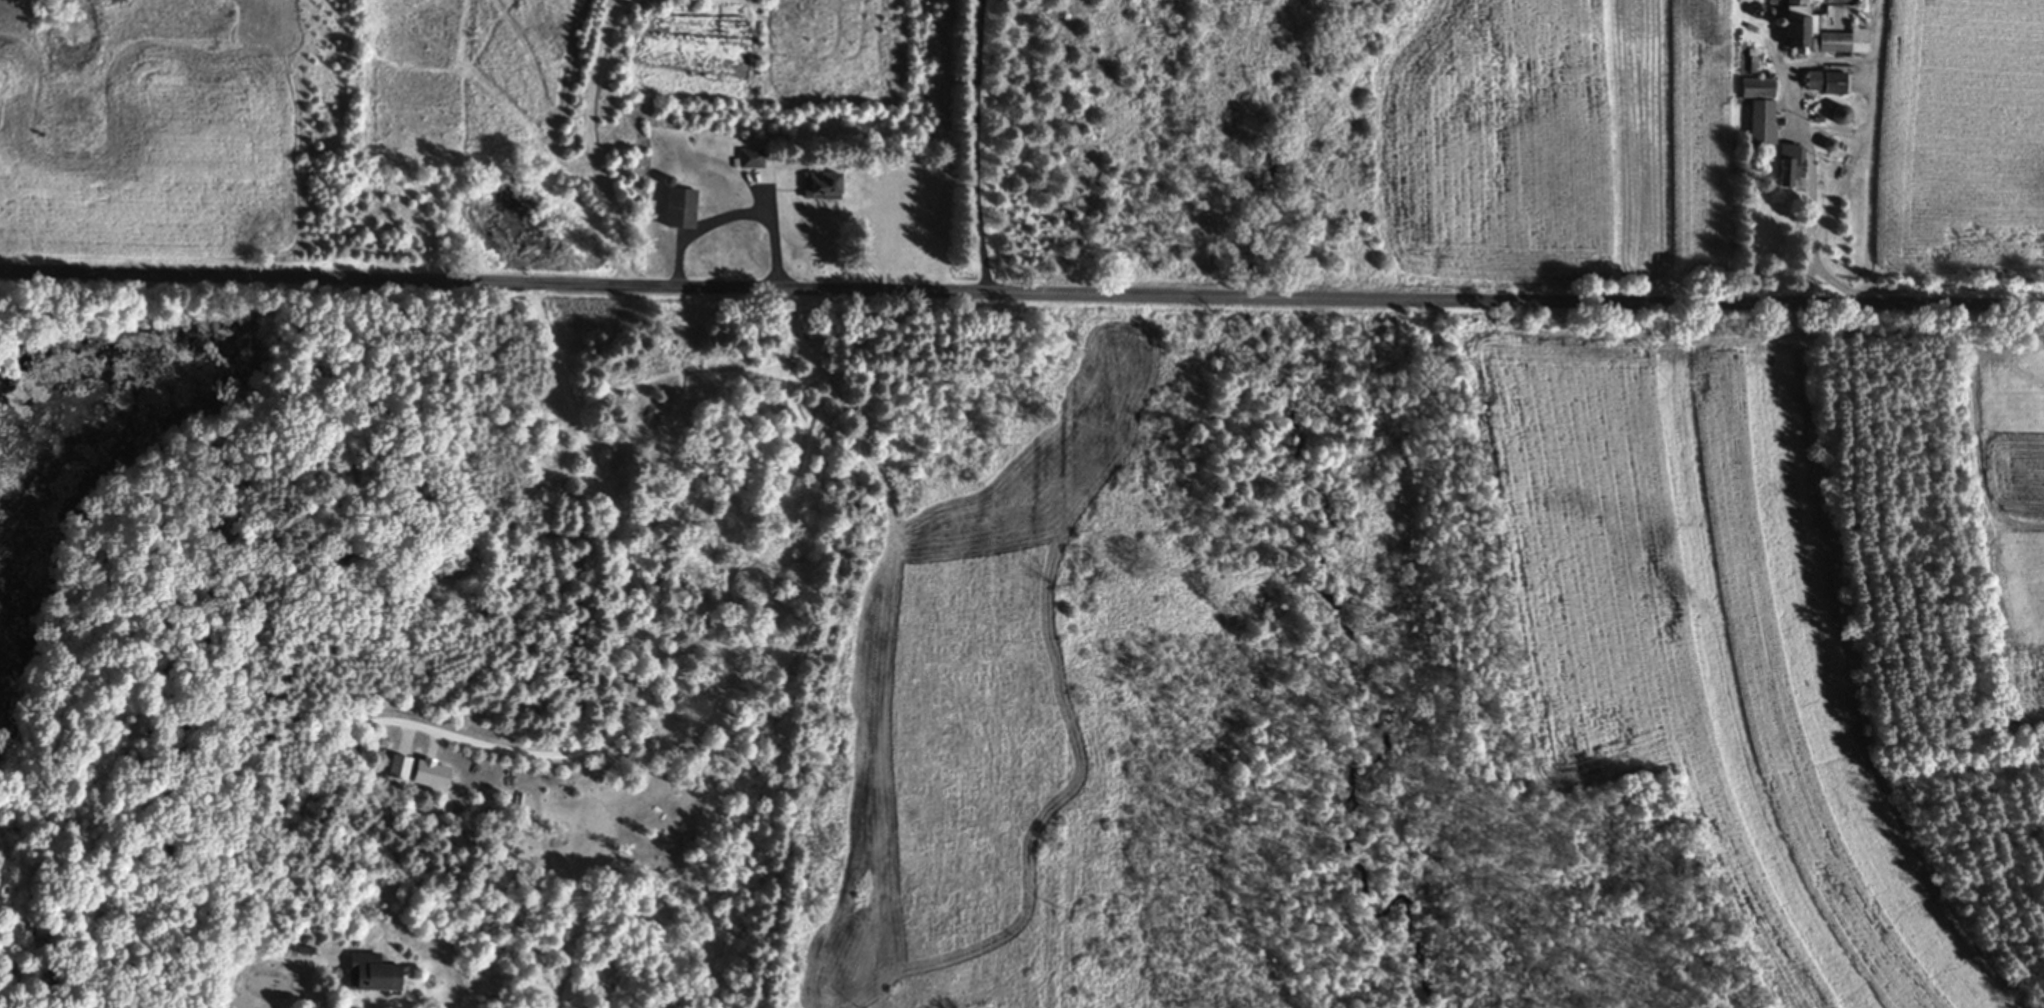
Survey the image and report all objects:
building: (1795, 23)
building: (1842, 41)
building: (1827, 82)
building: (1758, 108)
building: (1837, 115)
road: (594, 144)
road: (865, 146)
road: (974, 148)
road: (1873, 153)
building: (749, 158)
building: (1789, 164)
building: (819, 186)
building: (678, 209)
road: (1021, 296)
road: (563, 752)
building: (426, 775)
road: (294, 960)
building: (368, 973)
road: (238, 1000)

